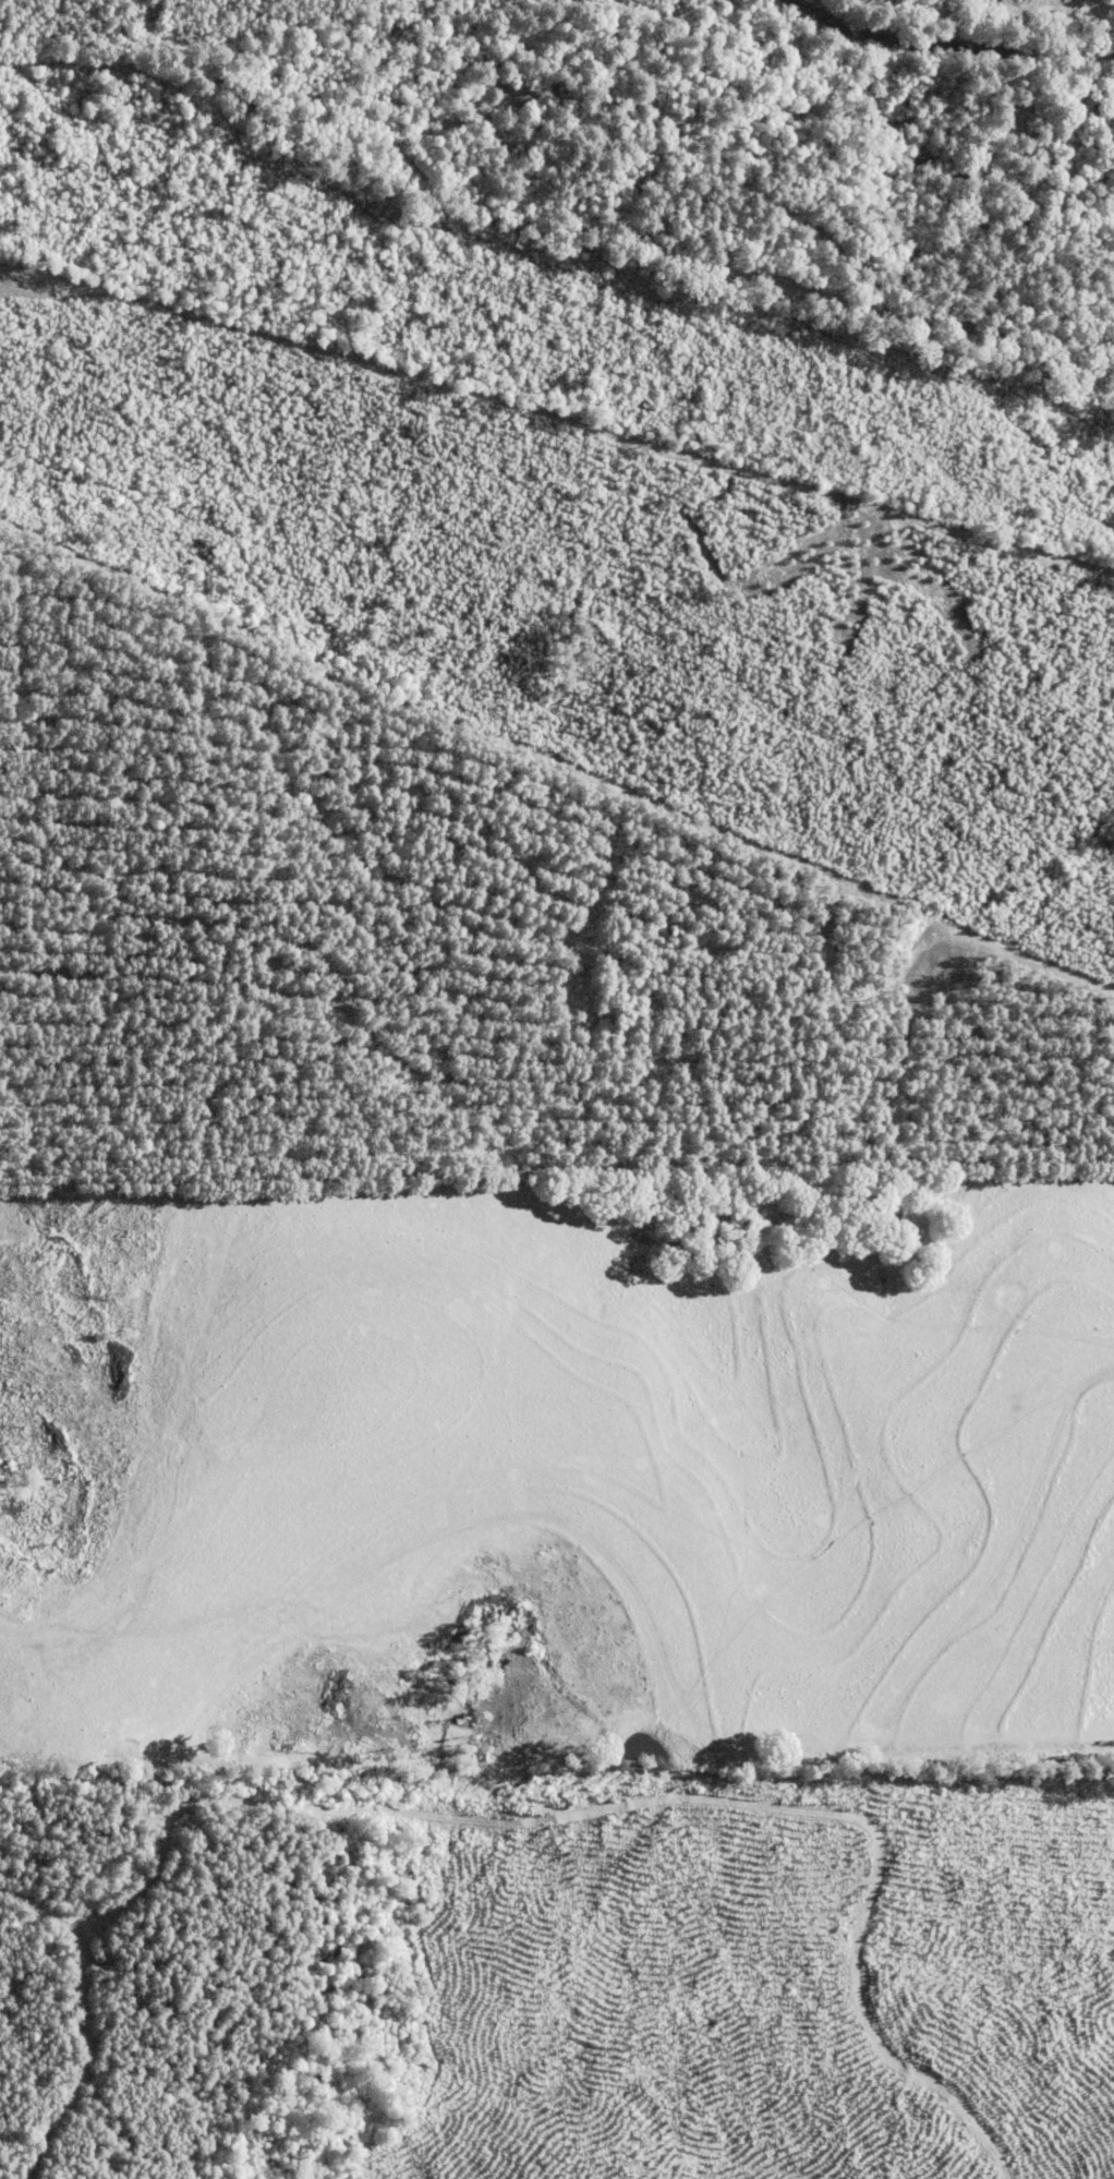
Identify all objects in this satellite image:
building: (1059, 0)
road: (952, 43)

